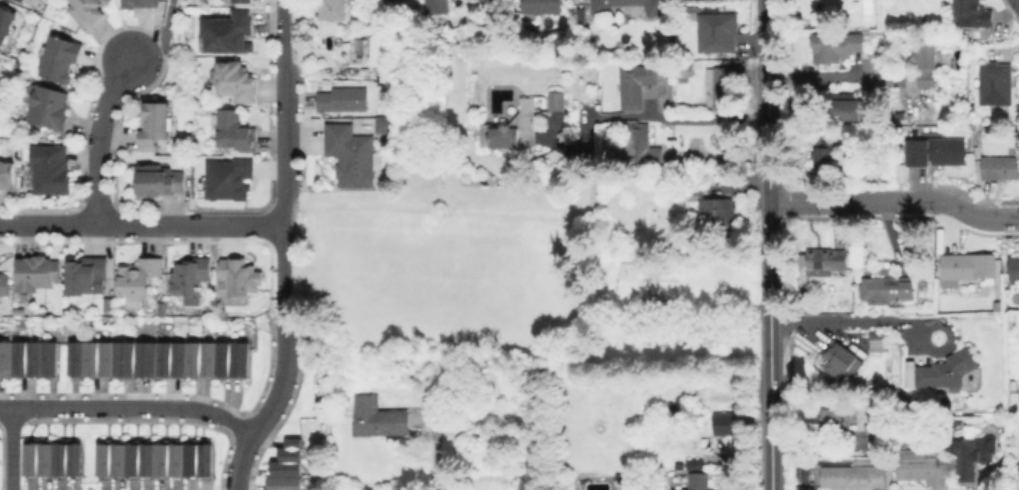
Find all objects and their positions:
building: (22, 0)
building: (244, 1)
building: (139, 3)
road: (1016, 4)
building: (436, 6)
building: (540, 7)
building: (694, 8)
building: (332, 9)
building: (655, 10)
building: (88, 11)
building: (974, 12)
building: (5, 24)
building: (717, 24)
building: (227, 33)
road: (163, 40)
building: (835, 45)
building: (380, 52)
building: (60, 58)
building: (926, 64)
building: (683, 68)
road: (834, 74)
building: (231, 81)
building: (634, 83)
building: (722, 83)
building: (996, 85)
rooftop solar panel: (495, 96)
building: (557, 99)
building: (344, 100)
building: (48, 107)
building: (841, 107)
building: (898, 115)
road: (671, 119)
building: (152, 126)
building: (384, 126)
building: (512, 128)
building: (235, 131)
road: (100, 138)
building: (641, 145)
building: (936, 152)
building: (351, 156)
building: (822, 158)
building: (52, 169)
building: (1000, 169)
road: (284, 171)
building: (6, 177)
building: (226, 178)
building: (160, 183)
road: (837, 201)
road: (962, 209)
building: (713, 217)
road: (142, 225)
road: (768, 244)
building: (825, 260)
building: (967, 267)
building: (1013, 269)
building: (38, 274)
building: (87, 275)
building: (190, 276)
building: (632, 276)
building: (141, 278)
building: (239, 279)
building: (4, 284)
building: (886, 292)
road: (709, 300)
road: (885, 324)
building: (878, 342)
building: (161, 360)
building: (29, 361)
building: (842, 362)
building: (945, 371)
road: (128, 407)
building: (378, 416)
road: (265, 417)
building: (835, 421)
building: (725, 426)
building: (875, 441)
road: (13, 448)
road: (432, 453)
building: (55, 459)
building: (973, 459)
building: (157, 460)
building: (1018, 460)
building: (696, 465)
building: (289, 467)
building: (923, 467)
building: (854, 478)
building: (699, 482)

